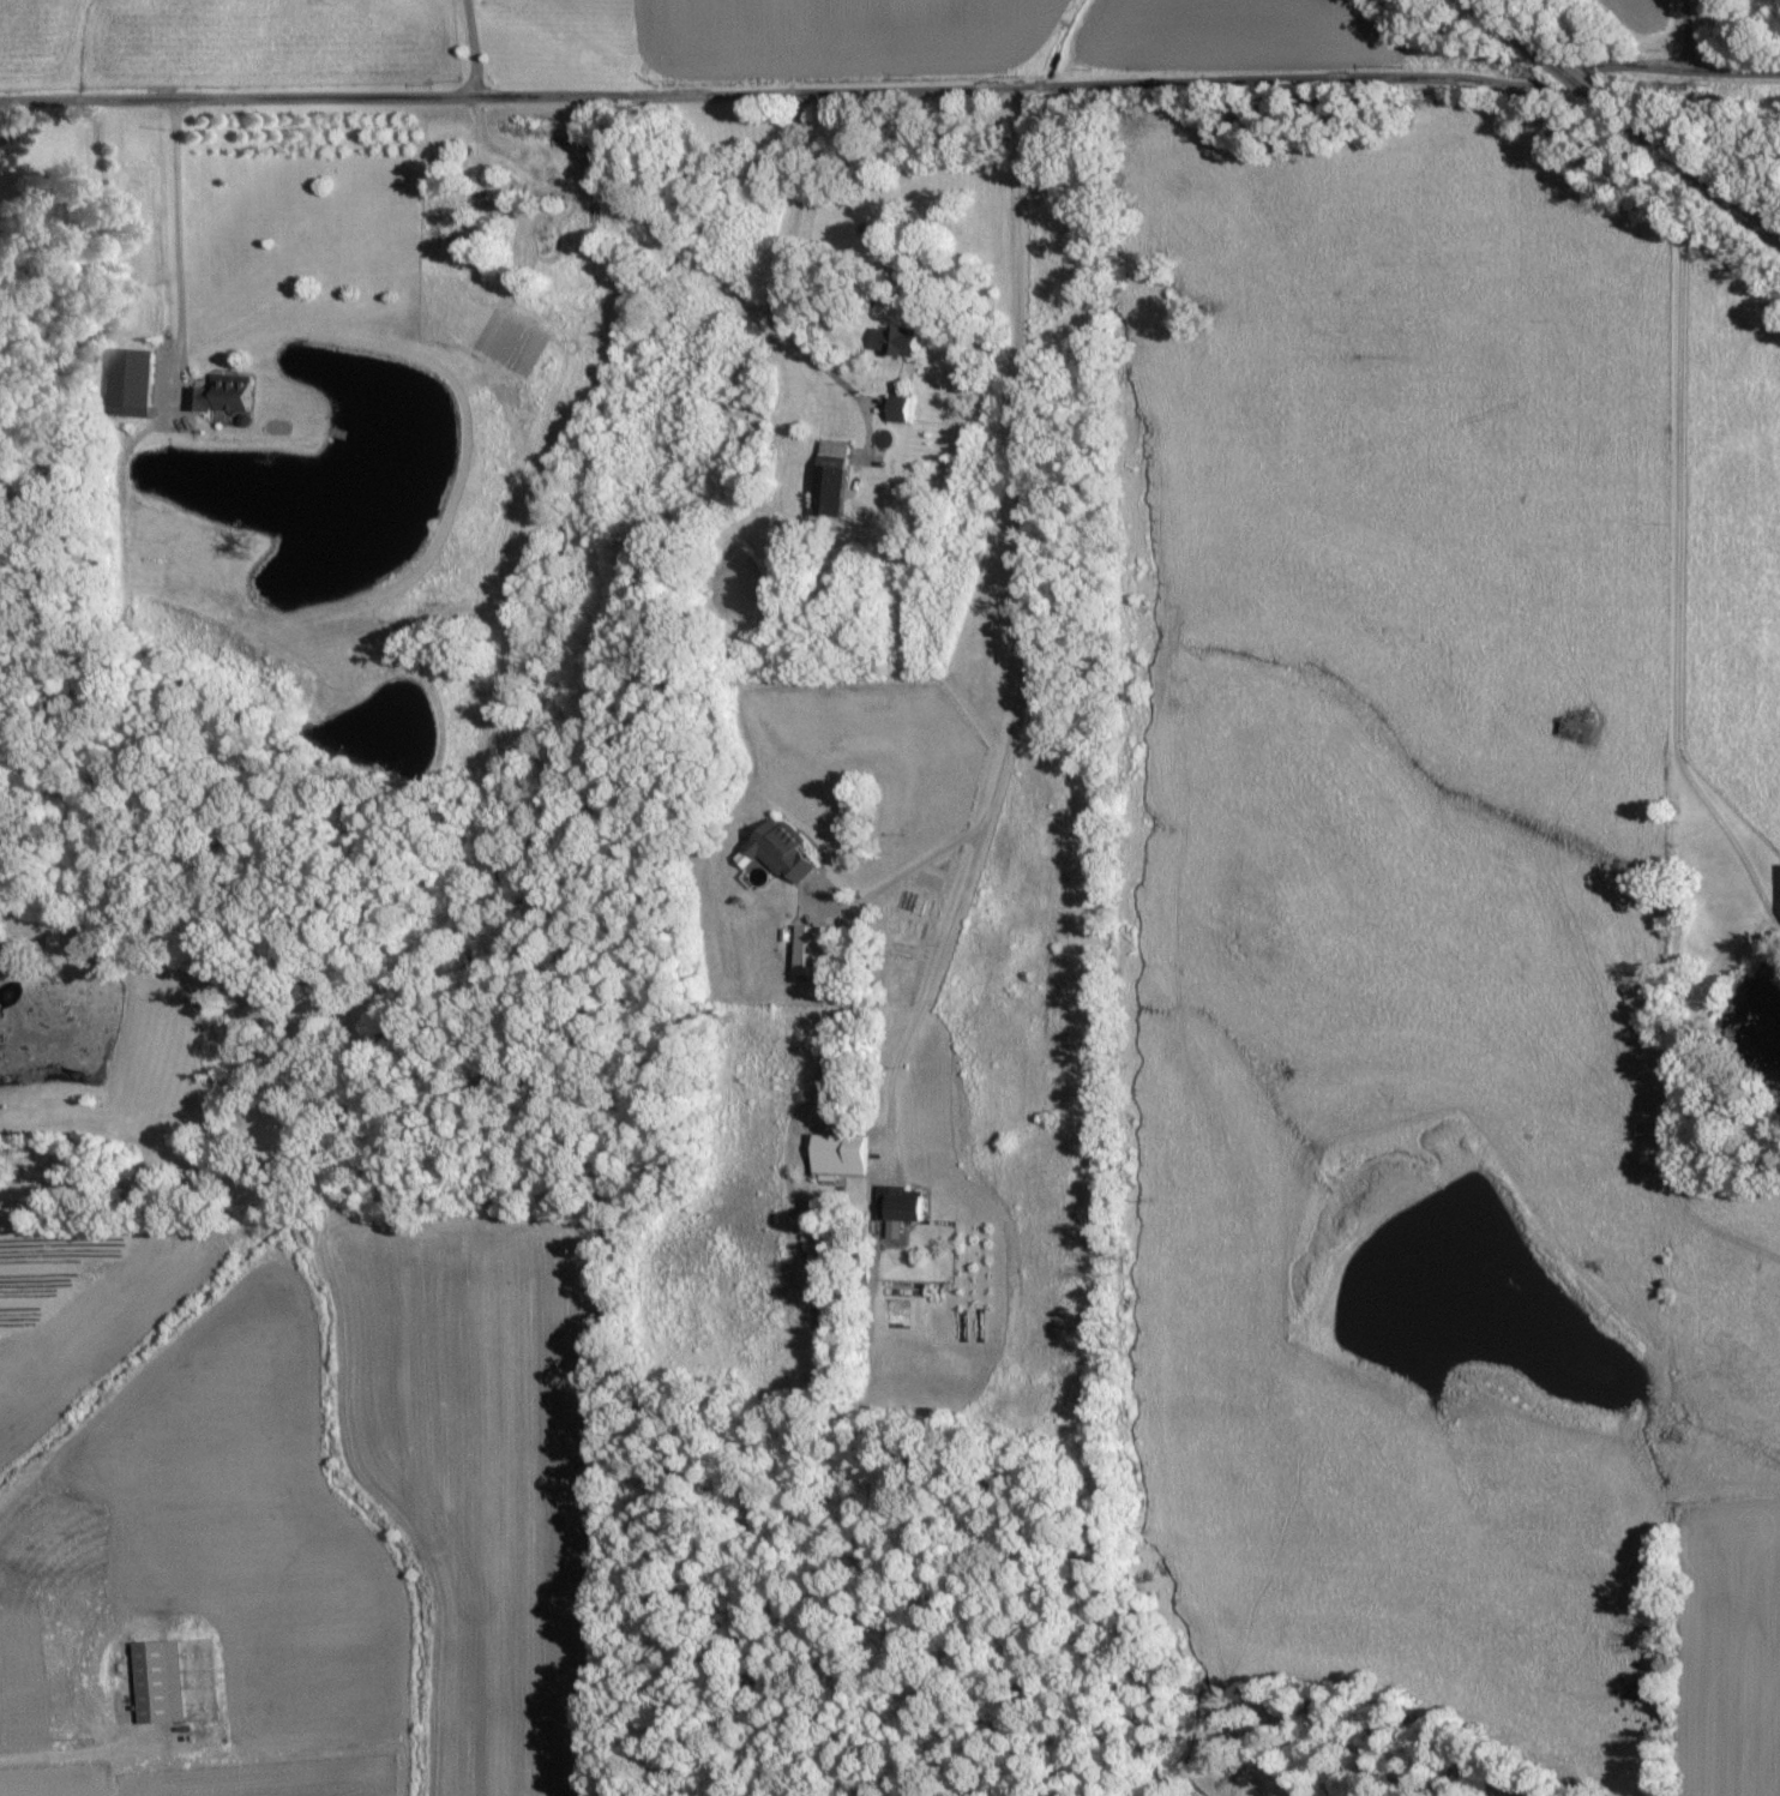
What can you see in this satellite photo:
road: (1684, 41)
road: (473, 47)
road: (890, 88)
railway: (1628, 120)
road: (176, 239)
road: (783, 271)
building: (894, 342)
building: (127, 384)
building: (217, 397)
building: (829, 474)
road: (1679, 475)
road: (1027, 643)
building: (774, 853)
road: (904, 873)
building: (810, 953)
building: (896, 1205)
building: (155, 1682)

